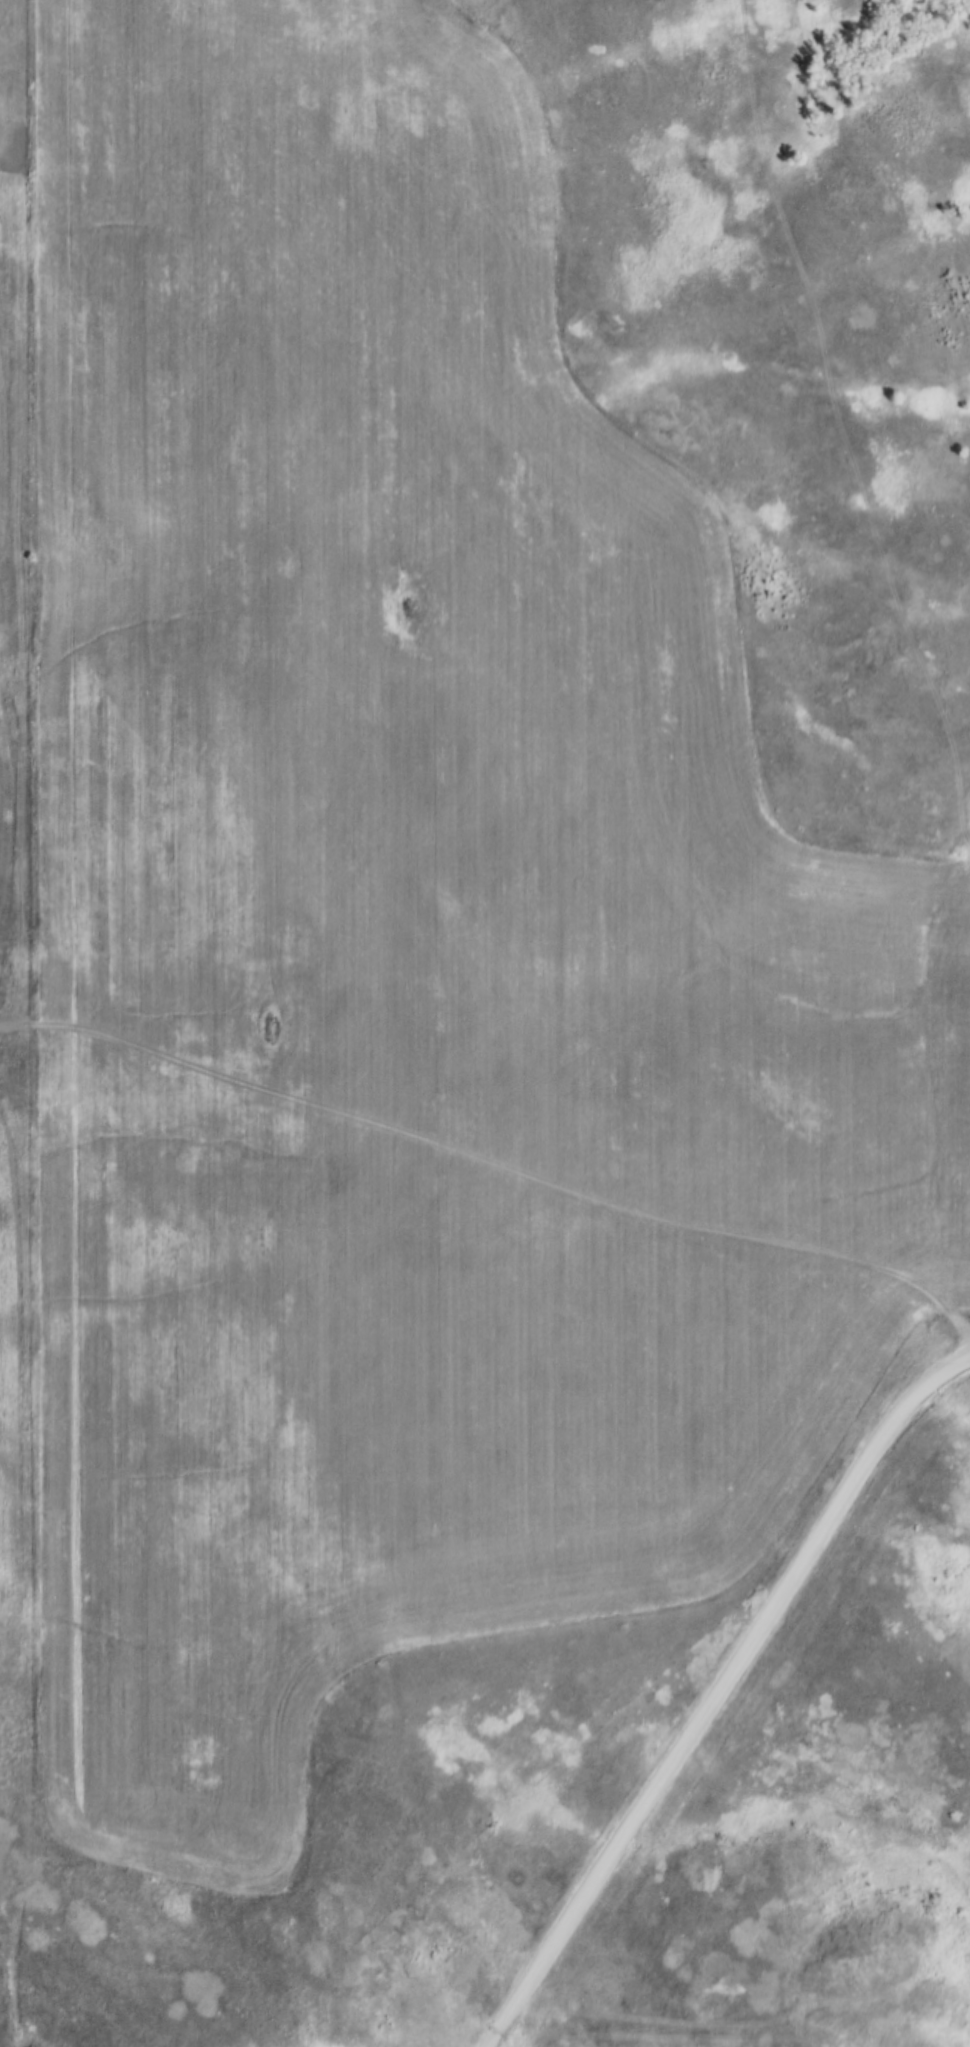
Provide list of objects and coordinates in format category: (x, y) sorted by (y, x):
road: (536, 1025)
road: (720, 1693)

